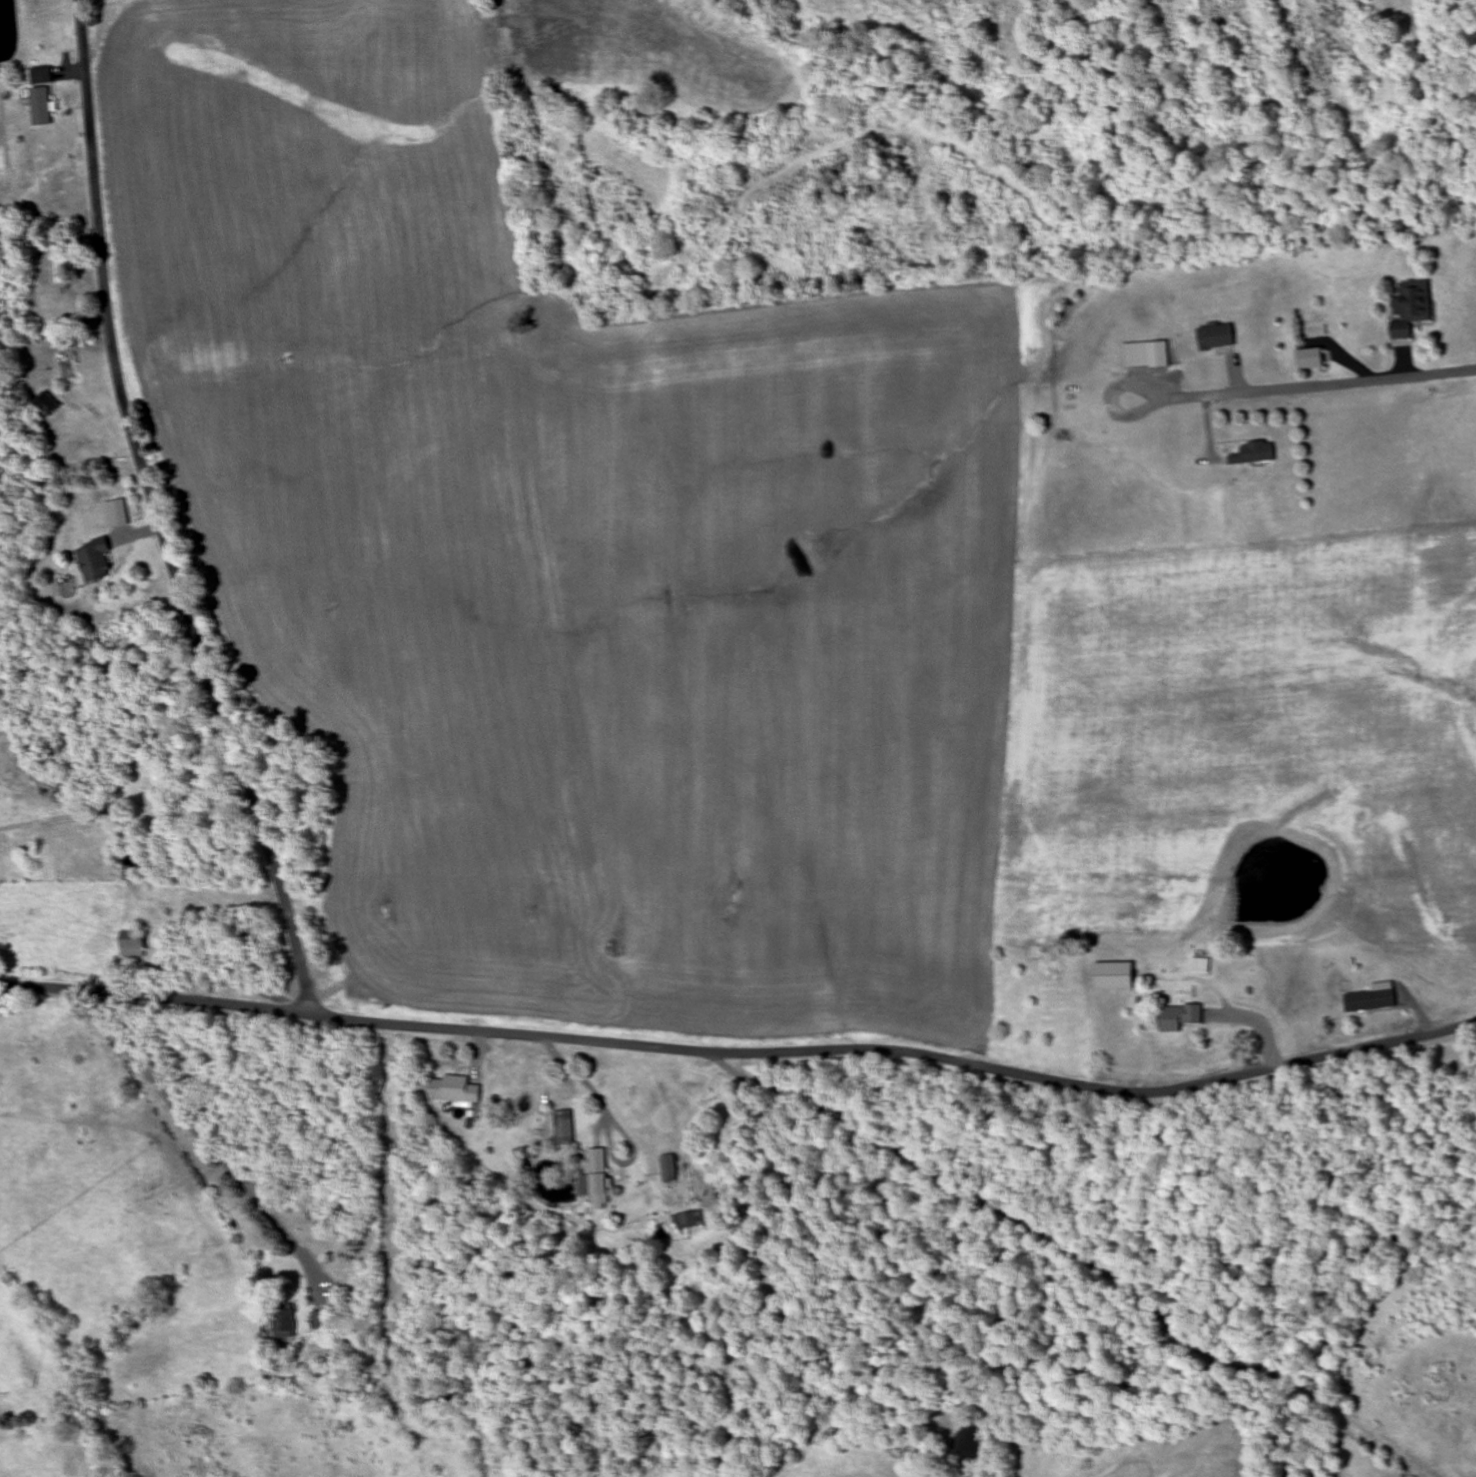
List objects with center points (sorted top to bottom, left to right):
building: (40, 75)
building: (40, 106)
building: (57, 264)
building: (1412, 309)
building: (1217, 338)
building: (1146, 355)
building: (1309, 360)
road: (1322, 387)
road: (1138, 391)
building: (45, 403)
road: (1134, 413)
building: (1255, 453)
road: (154, 517)
building: (93, 562)
building: (132, 944)
building: (1201, 965)
building: (1114, 975)
building: (1373, 999)
building: (1180, 1017)
road: (742, 1052)
building: (78, 1060)
building: (454, 1089)
building: (563, 1128)
road: (174, 1148)
building: (670, 1168)
building: (597, 1178)
building: (691, 1221)
road: (1026, 1221)
building: (318, 1320)
building: (284, 1322)

